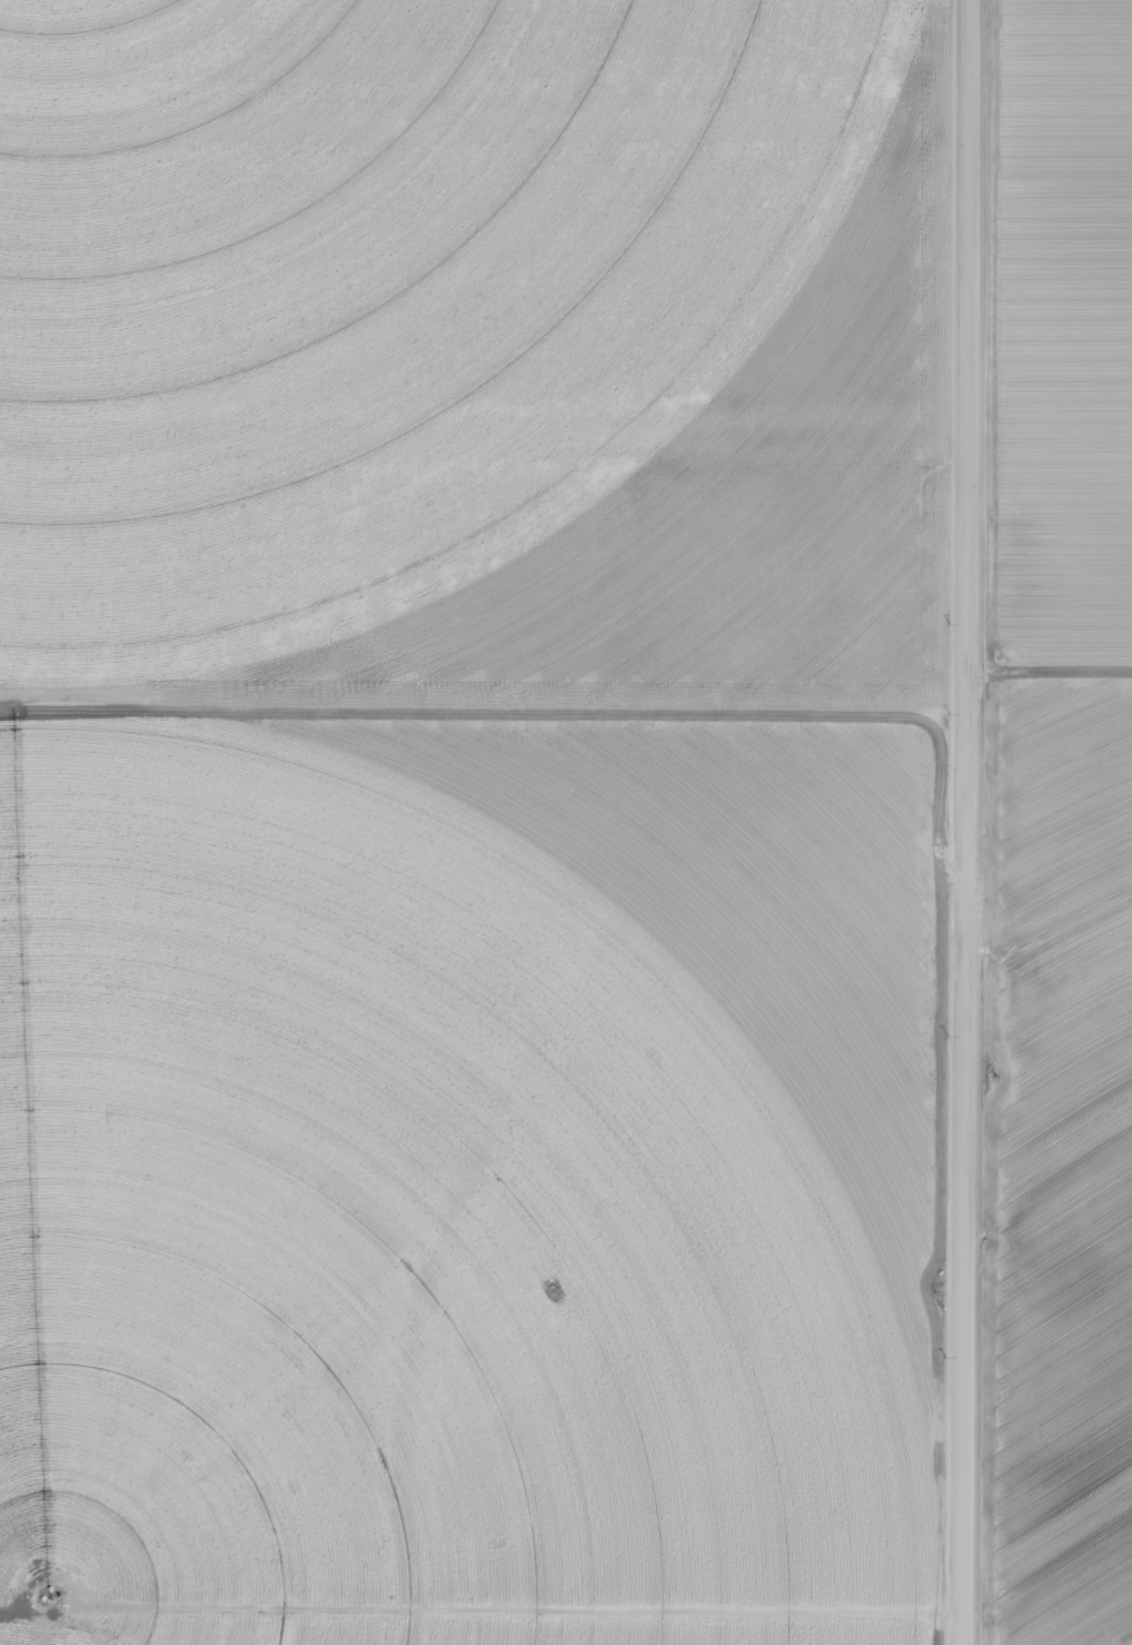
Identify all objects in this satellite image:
road: (945, 822)

